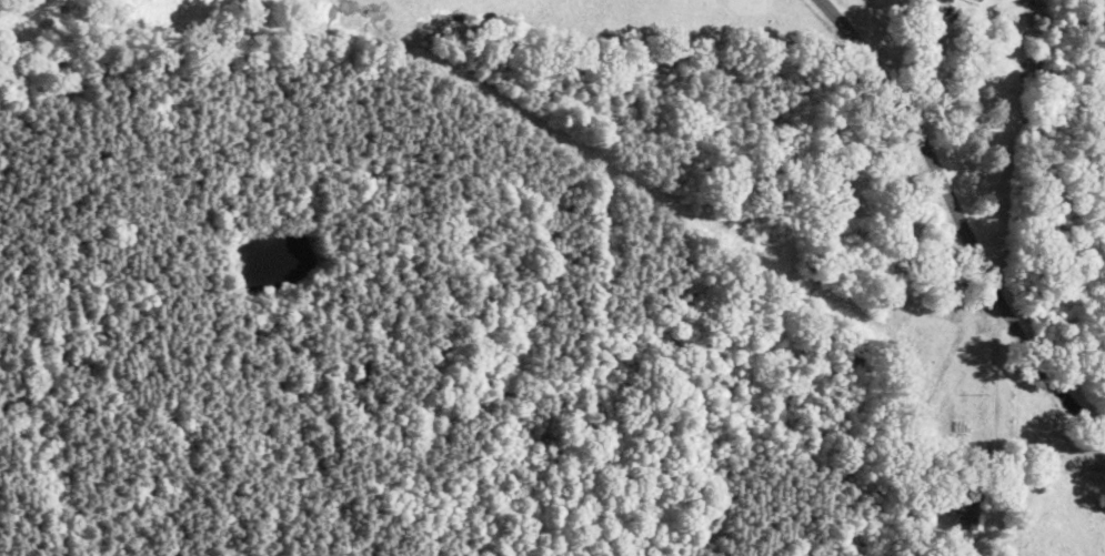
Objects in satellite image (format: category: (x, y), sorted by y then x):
building: (860, 155)
road: (935, 215)

